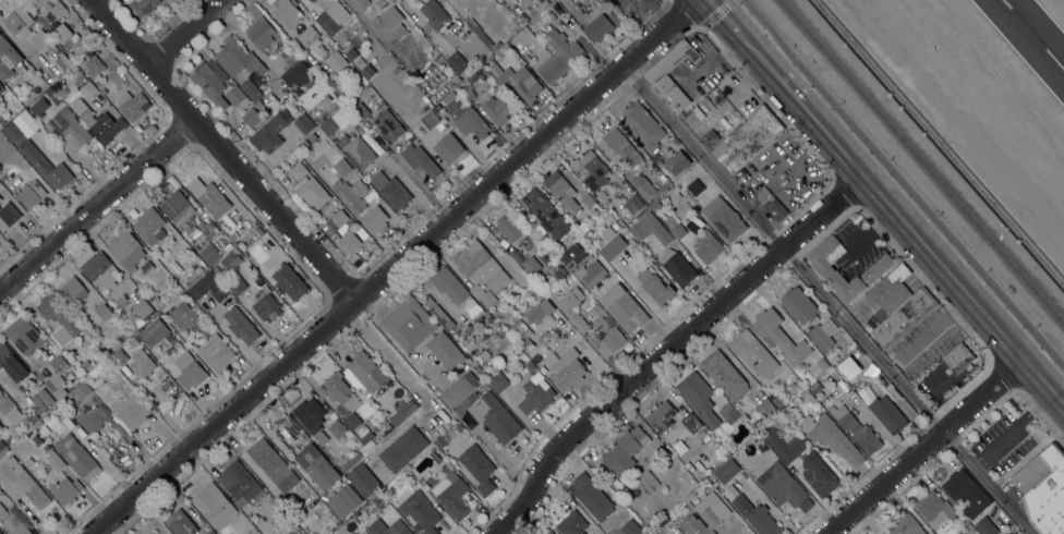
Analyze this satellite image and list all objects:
building: (312, 1)
building: (35, 2)
building: (361, 3)
building: (142, 5)
building: (58, 9)
building: (287, 11)
building: (434, 13)
building: (331, 16)
road: (717, 16)
building: (16, 20)
building: (45, 21)
building: (390, 23)
building: (597, 25)
building: (61, 32)
road: (184, 32)
building: (261, 32)
building: (307, 34)
building: (482, 35)
airport runway: (1032, 35)
building: (422, 41)
building: (45, 44)
building: (9, 49)
building: (351, 52)
building: (288, 53)
building: (559, 56)
building: (237, 58)
building: (64, 61)
building: (360, 62)
building: (457, 62)
building: (94, 64)
building: (494, 68)
building: (21, 69)
building: (4, 70)
building: (367, 70)
building: (297, 74)
building: (456, 78)
building: (488, 80)
building: (211, 81)
building: (524, 83)
building: (449, 84)
building: (1, 87)
building: (665, 87)
building: (87, 89)
building: (470, 89)
airport: (984, 90)
building: (252, 92)
building: (48, 93)
building: (237, 96)
building: (12, 102)
building: (132, 105)
building: (38, 106)
building: (435, 107)
building: (497, 108)
building: (360, 111)
building: (252, 117)
building: (430, 119)
building: (337, 120)
building: (1, 121)
building: (99, 122)
building: (304, 123)
building: (471, 123)
building: (388, 125)
building: (642, 125)
building: (66, 130)
building: (269, 133)
building: (312, 136)
building: (749, 136)
building: (710, 137)
building: (304, 145)
building: (448, 147)
building: (618, 147)
building: (35, 149)
building: (355, 149)
road: (222, 151)
road: (702, 157)
building: (421, 159)
railway: (921, 161)
building: (677, 162)
building: (660, 163)
building: (342, 166)
building: (299, 169)
building: (591, 170)
building: (642, 185)
road: (903, 185)
building: (696, 186)
building: (391, 190)
building: (561, 191)
building: (313, 192)
building: (31, 194)
building: (351, 194)
building: (602, 194)
building: (209, 197)
road: (874, 197)
building: (591, 203)
building: (633, 203)
building: (771, 203)
building: (654, 204)
road: (98, 207)
building: (178, 207)
building: (543, 209)
building: (8, 215)
building: (339, 218)
building: (724, 218)
building: (374, 219)
building: (148, 224)
building: (509, 227)
building: (653, 228)
building: (608, 231)
building: (677, 231)
building: (256, 232)
building: (232, 235)
building: (349, 241)
building: (706, 245)
building: (613, 246)
building: (125, 248)
building: (190, 251)
building: (209, 253)
building: (572, 255)
building: (516, 256)
building: (231, 260)
building: (531, 265)
building: (481, 266)
building: (677, 266)
building: (879, 266)
building: (147, 267)
road: (394, 267)
building: (100, 270)
building: (217, 271)
building: (591, 272)
building: (557, 276)
building: (290, 281)
building: (237, 284)
building: (563, 284)
building: (655, 286)
building: (208, 287)
building: (72, 289)
building: (456, 291)
building: (891, 292)
building: (483, 294)
building: (132, 295)
building: (156, 302)
building: (266, 304)
building: (800, 305)
building: (573, 307)
building: (622, 307)
building: (143, 308)
building: (102, 310)
building: (539, 311)
building: (439, 314)
building: (183, 315)
building: (903, 318)
building: (59, 319)
building: (924, 321)
building: (409, 323)
building: (240, 325)
building: (133, 327)
building: (153, 331)
building: (99, 332)
building: (486, 332)
building: (521, 332)
building: (823, 333)
building: (24, 335)
building: (124, 335)
building: (779, 336)
building: (544, 337)
building: (606, 337)
building: (84, 338)
road: (861, 339)
building: (133, 340)
building: (446, 350)
road: (666, 350)
building: (215, 351)
building: (752, 353)
building: (484, 354)
building: (119, 356)
building: (957, 359)
road: (394, 361)
building: (12, 363)
building: (142, 363)
building: (822, 363)
building: (529, 365)
building: (565, 368)
building: (189, 369)
building: (367, 371)
building: (536, 372)
building: (724, 374)
road: (1036, 375)
building: (57, 376)
building: (876, 379)
building: (498, 381)
building: (73, 383)
building: (483, 387)
building: (815, 387)
building: (459, 388)
building: (81, 389)
building: (0, 390)
building: (535, 396)
building: (343, 397)
building: (698, 397)
road: (1057, 398)
building: (41, 399)
building: (776, 399)
building: (465, 404)
building: (765, 406)
building: (402, 409)
building: (11, 410)
building: (131, 410)
building: (728, 412)
building: (886, 412)
building: (843, 415)
building: (34, 416)
building: (311, 416)
building: (494, 416)
building: (661, 416)
building: (90, 418)
building: (691, 422)
building: (38, 423)
building: (805, 423)
building: (754, 424)
building: (459, 426)
road: (1013, 427)
building: (337, 428)
building: (44, 429)
building: (430, 430)
building: (363, 433)
building: (37, 439)
building: (835, 439)
building: (867, 439)
building: (440, 441)
building: (1, 445)
road: (924, 446)
building: (46, 447)
building: (761, 447)
building: (403, 448)
building: (788, 448)
building: (625, 450)
building: (77, 456)
building: (435, 456)
building: (55, 459)
building: (350, 461)
building: (273, 463)
building: (317, 466)
building: (479, 466)
building: (726, 470)
building: (818, 474)
building: (363, 478)
building: (648, 481)
road: (989, 481)
building: (21, 483)
building: (240, 483)
building: (781, 484)
building: (65, 489)
building: (966, 493)
building: (451, 494)
building: (1048, 495)
building: (592, 496)
building: (686, 498)
building: (343, 500)
building: (378, 500)
building: (215, 506)
building: (420, 511)
building: (936, 511)
building: (282, 512)
building: (355, 514)
building: (705, 514)
building: (757, 515)
building: (13, 522)
building: (180, 522)
building: (571, 523)
building: (350, 525)
building: (907, 525)
building: (986, 525)
building: (416, 526)
building: (630, 526)
building: (388, 527)
building: (210, 532)
building: (548, 532)
building: (962, 532)
building: (0, 533)
building: (153, 533)
building: (881, 533)
building: (882, 533)
building: (958, 533)

